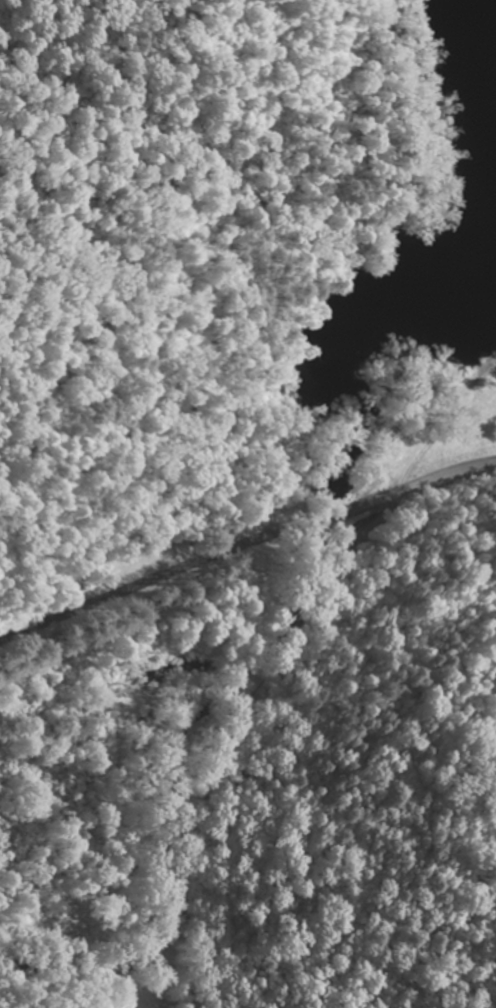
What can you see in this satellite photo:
park: (187, 216)
road: (246, 545)

